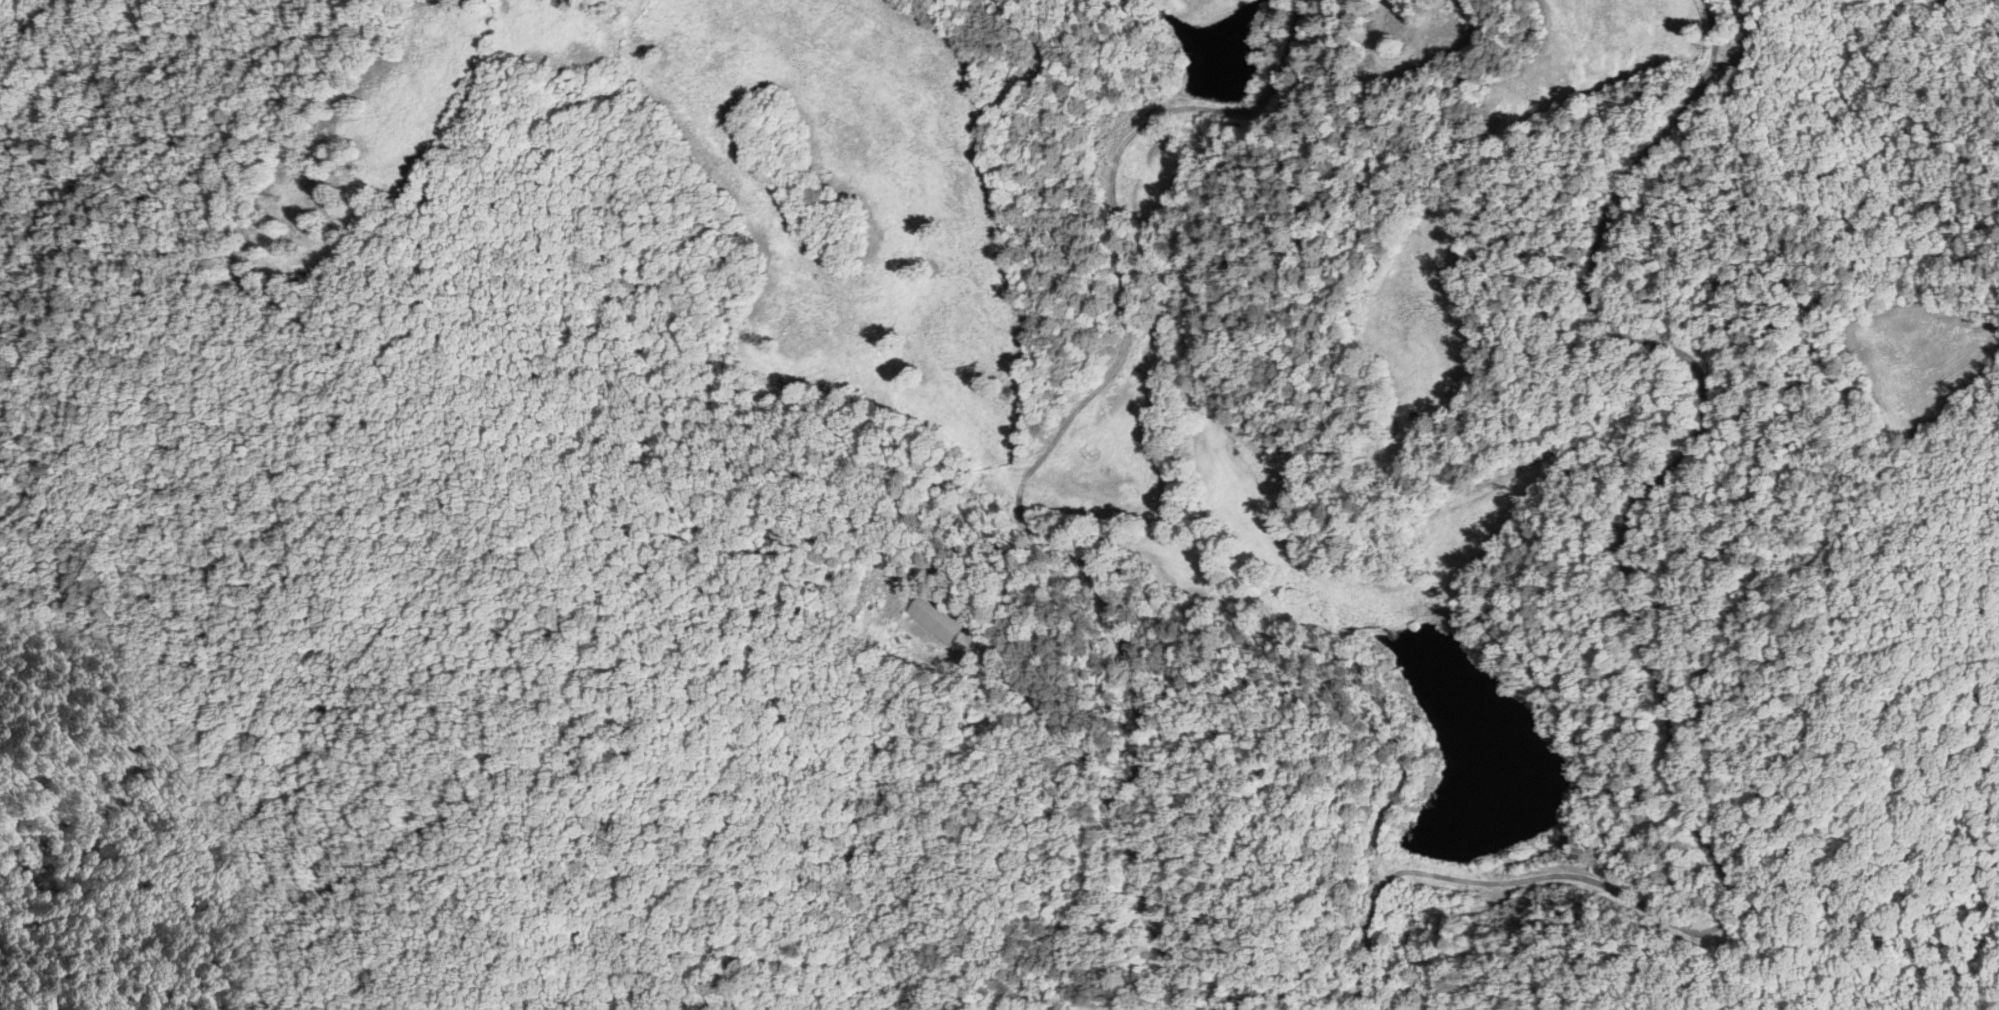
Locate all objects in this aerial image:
building: (936, 619)

